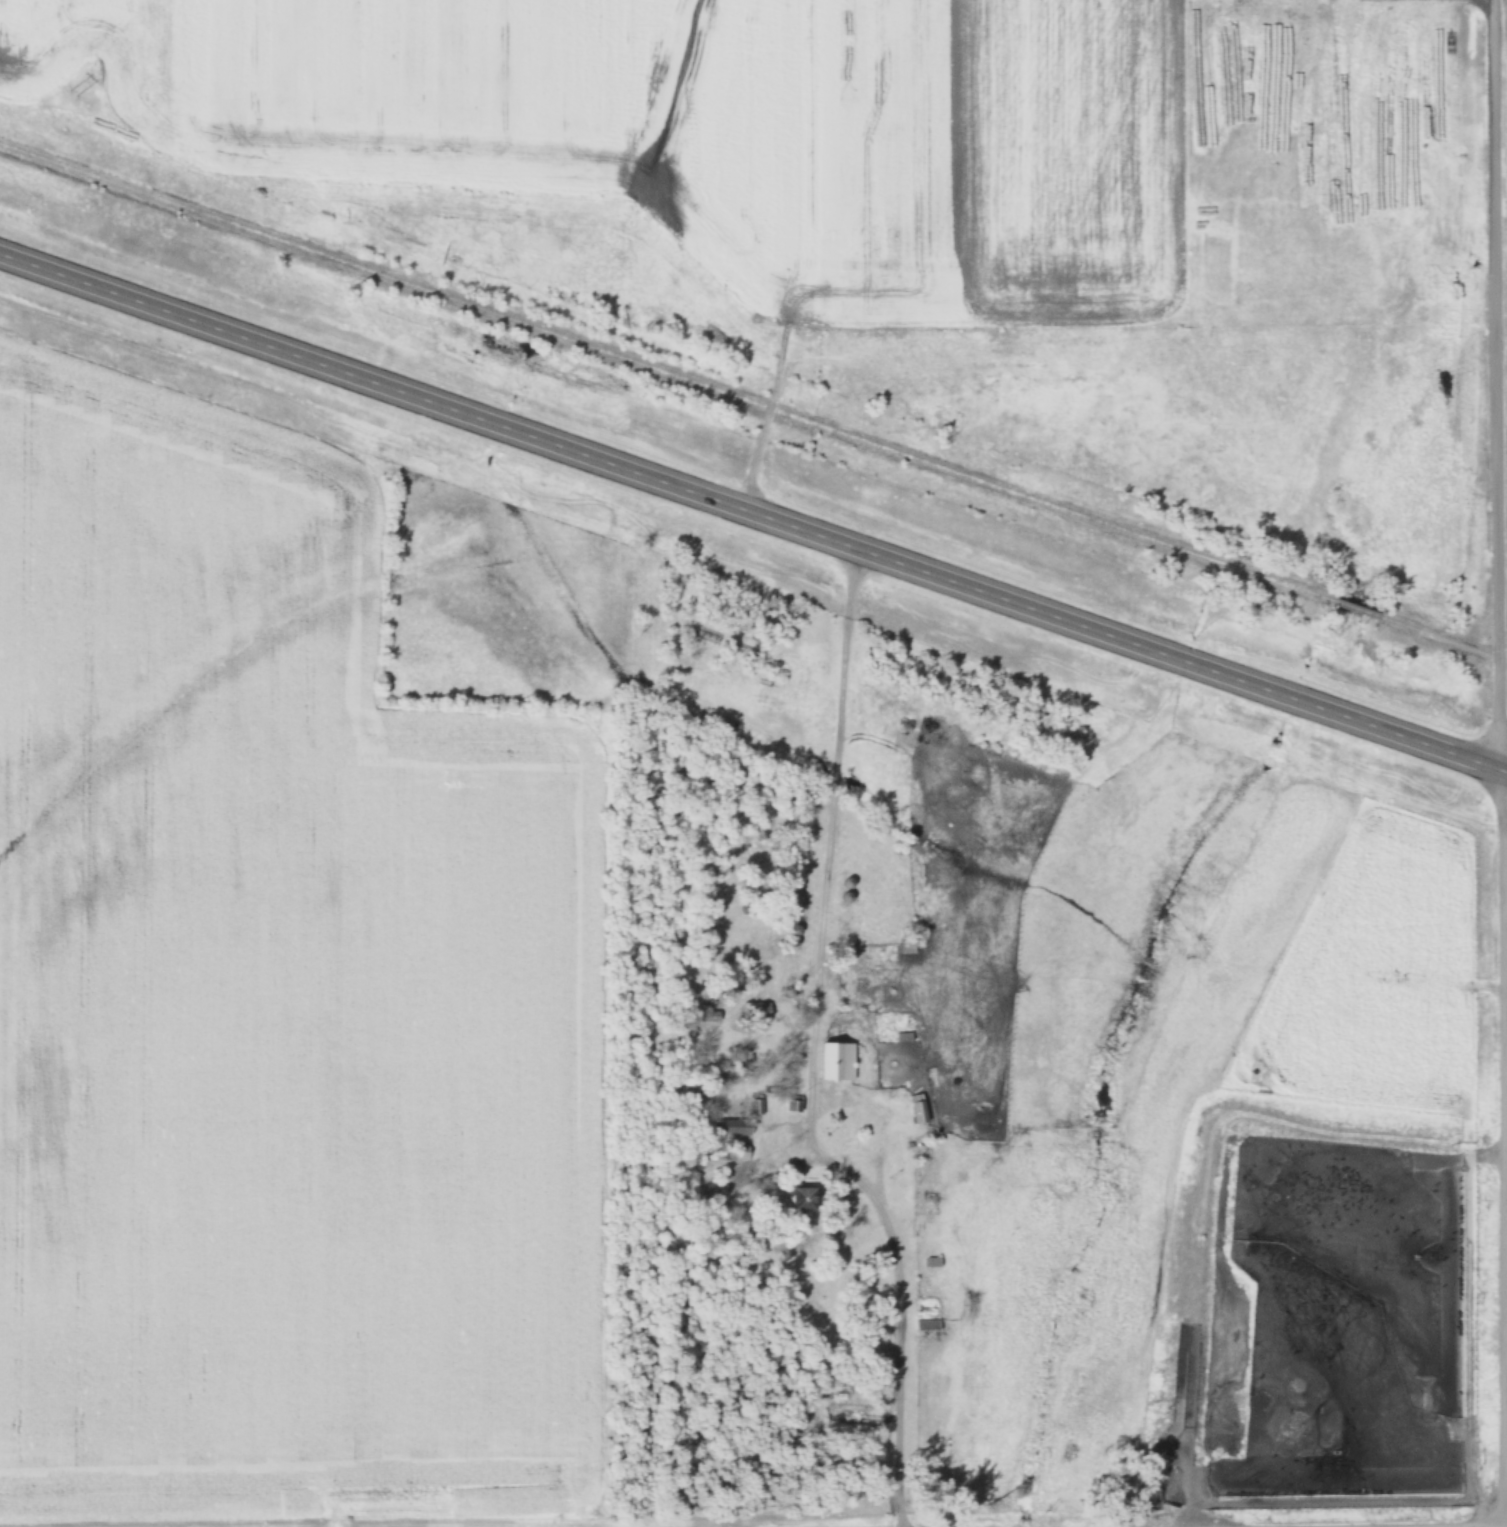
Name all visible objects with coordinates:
power tower: (72, 92)
road: (779, 256)
railway: (664, 371)
road: (753, 512)
railway: (1353, 609)
railway: (1442, 639)
building: (904, 722)
road: (1502, 763)
building: (795, 906)
building: (755, 1009)
building: (709, 1016)
road: (815, 1053)
building: (836, 1060)
building: (793, 1103)
building: (917, 1108)
road: (878, 1124)
building: (733, 1125)
building: (801, 1197)
building: (932, 1266)
building: (927, 1328)

